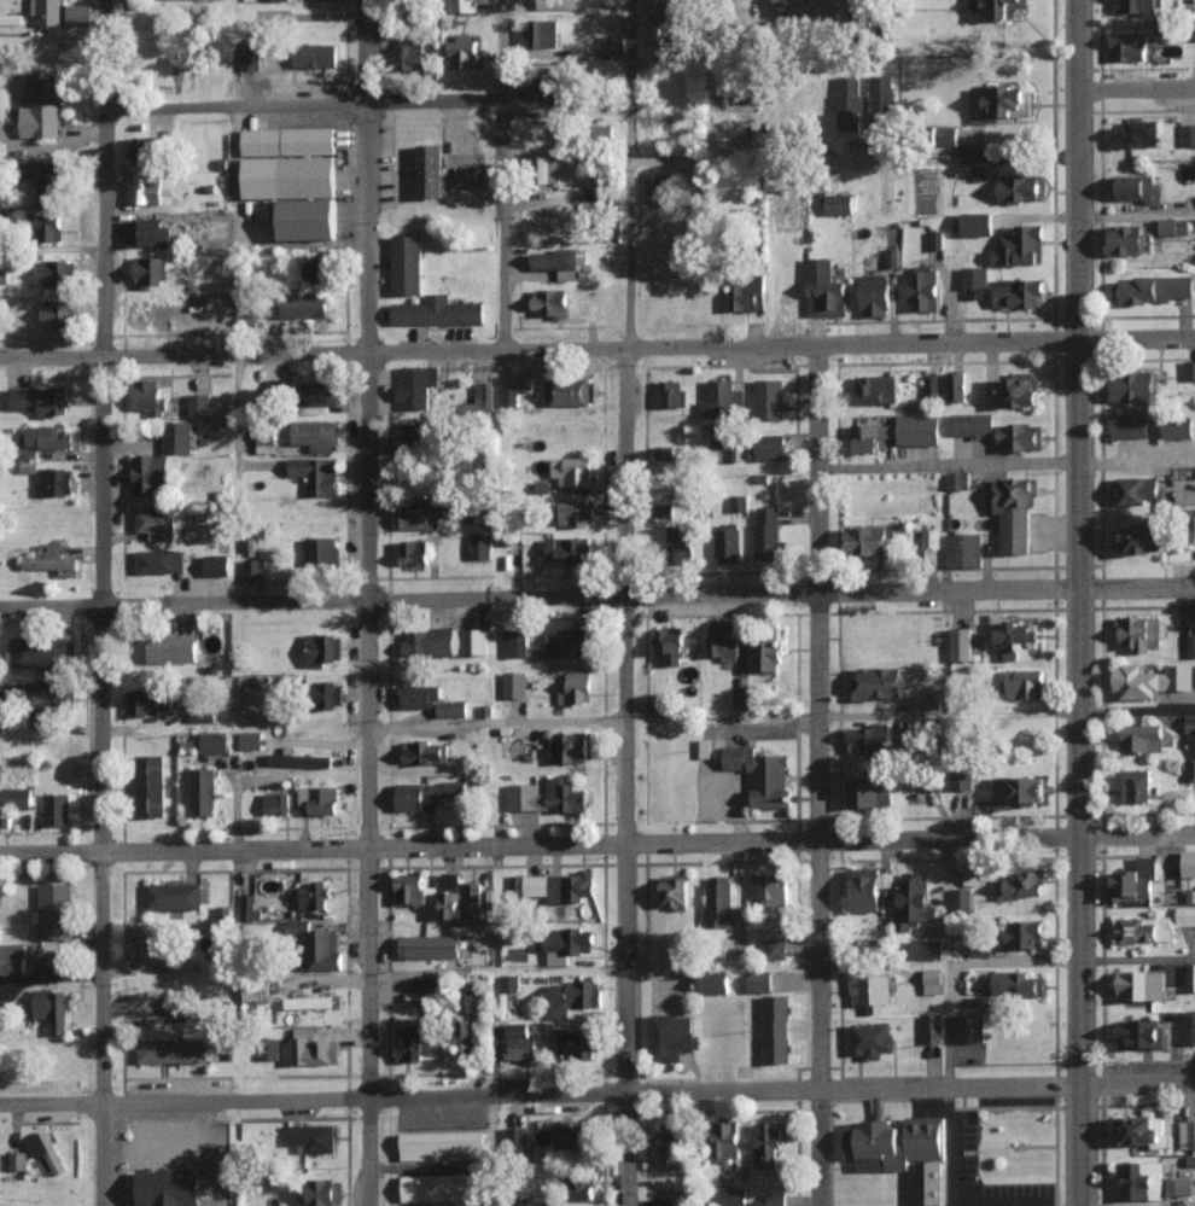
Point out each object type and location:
building: (272, 0)
building: (556, 4)
building: (461, 5)
building: (863, 5)
building: (1139, 6)
building: (997, 7)
building: (46, 11)
building: (78, 13)
building: (657, 22)
building: (543, 33)
building: (614, 43)
building: (1127, 46)
building: (462, 51)
building: (413, 52)
building: (315, 54)
building: (250, 57)
building: (536, 87)
road: (1136, 87)
building: (880, 101)
building: (1001, 101)
building: (849, 103)
road: (304, 105)
building: (41, 107)
building: (1137, 134)
building: (1188, 134)
building: (287, 140)
building: (142, 150)
road: (853, 157)
building: (43, 169)
building: (430, 169)
building: (547, 169)
building: (972, 170)
road: (502, 174)
building: (307, 176)
building: (1136, 186)
building: (654, 187)
building: (1019, 187)
building: (146, 190)
building: (839, 204)
water tower: (788, 210)
building: (308, 219)
building: (556, 222)
building: (977, 223)
building: (1173, 226)
building: (47, 227)
building: (147, 231)
building: (1125, 239)
building: (1021, 245)
building: (891, 257)
building: (559, 261)
building: (406, 264)
building: (150, 269)
building: (56, 272)
building: (314, 272)
building: (974, 281)
building: (925, 287)
building: (824, 289)
building: (1152, 289)
building: (1018, 291)
building: (746, 293)
building: (875, 295)
building: (550, 302)
building: (302, 304)
building: (269, 308)
building: (437, 310)
building: (58, 311)
building: (144, 314)
road: (1136, 336)
road: (538, 348)
building: (1189, 369)
building: (932, 384)
building: (416, 385)
building: (957, 385)
building: (1133, 385)
building: (875, 389)
building: (1018, 390)
building: (567, 391)
building: (670, 392)
building: (320, 394)
building: (148, 395)
building: (480, 395)
building: (508, 395)
building: (722, 398)
building: (769, 398)
building: (39, 400)
building: (198, 404)
building: (972, 424)
building: (1127, 425)
building: (1177, 426)
building: (917, 429)
building: (414, 432)
building: (316, 435)
building: (46, 436)
building: (1019, 436)
building: (869, 437)
building: (721, 438)
building: (266, 442)
building: (770, 447)
building: (161, 459)
building: (573, 471)
building: (316, 474)
building: (957, 479)
building: (56, 480)
building: (1136, 490)
building: (739, 502)
building: (665, 511)
building: (1015, 511)
building: (577, 512)
building: (416, 518)
building: (156, 522)
building: (766, 532)
building: (1141, 537)
building: (867, 540)
building: (681, 542)
building: (727, 543)
building: (931, 543)
building: (479, 546)
building: (569, 549)
building: (964, 549)
building: (320, 550)
building: (414, 550)
building: (159, 560)
building: (52, 564)
building: (216, 565)
building: (253, 569)
road: (1137, 587)
road: (540, 598)
road: (99, 602)
road: (366, 602)
road: (623, 602)
road: (1079, 602)
building: (1015, 637)
building: (1190, 637)
building: (723, 639)
building: (474, 640)
building: (432, 642)
building: (567, 642)
building: (513, 643)
building: (961, 643)
building: (669, 646)
building: (171, 647)
building: (322, 648)
building: (41, 652)
building: (766, 654)
building: (1194, 674)
building: (1150, 680)
building: (1025, 682)
building: (514, 683)
building: (878, 683)
building: (575, 688)
building: (42, 692)
building: (327, 694)
building: (141, 700)
building: (431, 700)
building: (1189, 723)
building: (868, 738)
building: (1141, 738)
building: (251, 740)
building: (214, 741)
building: (705, 747)
building: (569, 748)
building: (422, 752)
building: (298, 759)
building: (1190, 769)
building: (760, 774)
road: (817, 774)
building: (961, 777)
building: (148, 785)
building: (1136, 785)
building: (868, 790)
building: (203, 791)
building: (1018, 791)
building: (425, 793)
building: (547, 796)
building: (14, 797)
building: (317, 799)
building: (54, 803)
building: (276, 803)
road: (1137, 833)
road: (540, 844)
building: (972, 878)
building: (1136, 880)
building: (450, 881)
building: (1022, 884)
building: (561, 886)
building: (409, 889)
building: (771, 889)
building: (869, 889)
building: (674, 891)
building: (173, 896)
building: (313, 896)
building: (471, 896)
building: (962, 897)
building: (914, 901)
building: (450, 904)
building: (249, 907)
building: (54, 910)
building: (727, 915)
building: (1185, 915)
building: (1143, 928)
building: (1024, 934)
building: (151, 943)
building: (774, 943)
building: (567, 944)
building: (319, 945)
building: (429, 945)
building: (926, 949)
building: (979, 949)
building: (663, 955)
road: (1136, 957)
building: (12, 959)
building: (181, 965)
road: (960, 967)
building: (1190, 977)
building: (759, 980)
building: (932, 980)
building: (509, 983)
building: (713, 983)
building: (1018, 983)
building: (426, 984)
building: (1141, 985)
building: (255, 991)
building: (870, 992)
building: (573, 996)
building: (466, 1001)
building: (308, 1002)
building: (52, 1008)
building: (2, 1013)
building: (932, 1027)
building: (968, 1027)
building: (1188, 1027)
building: (776, 1029)
building: (1141, 1033)
building: (671, 1036)
building: (462, 1037)
building: (408, 1039)
building: (872, 1039)
building: (519, 1042)
building: (576, 1043)
building: (314, 1048)
building: (170, 1050)
road: (1136, 1083)
road: (538, 1093)
building: (1137, 1130)
building: (1187, 1135)
building: (517, 1136)
building: (570, 1136)
building: (311, 1137)
building: (724, 1141)
building: (769, 1143)
building: (442, 1146)
building: (669, 1146)
parking lot: (969, 1147)
building: (45, 1150)
building: (904, 1152)
building: (17, 1160)
building: (1141, 1179)
building: (1178, 1185)
building: (439, 1187)
building: (582, 1187)
building: (171, 1188)
building: (321, 1192)
building: (731, 1196)
building: (771, 1199)
building: (549, 1204)

